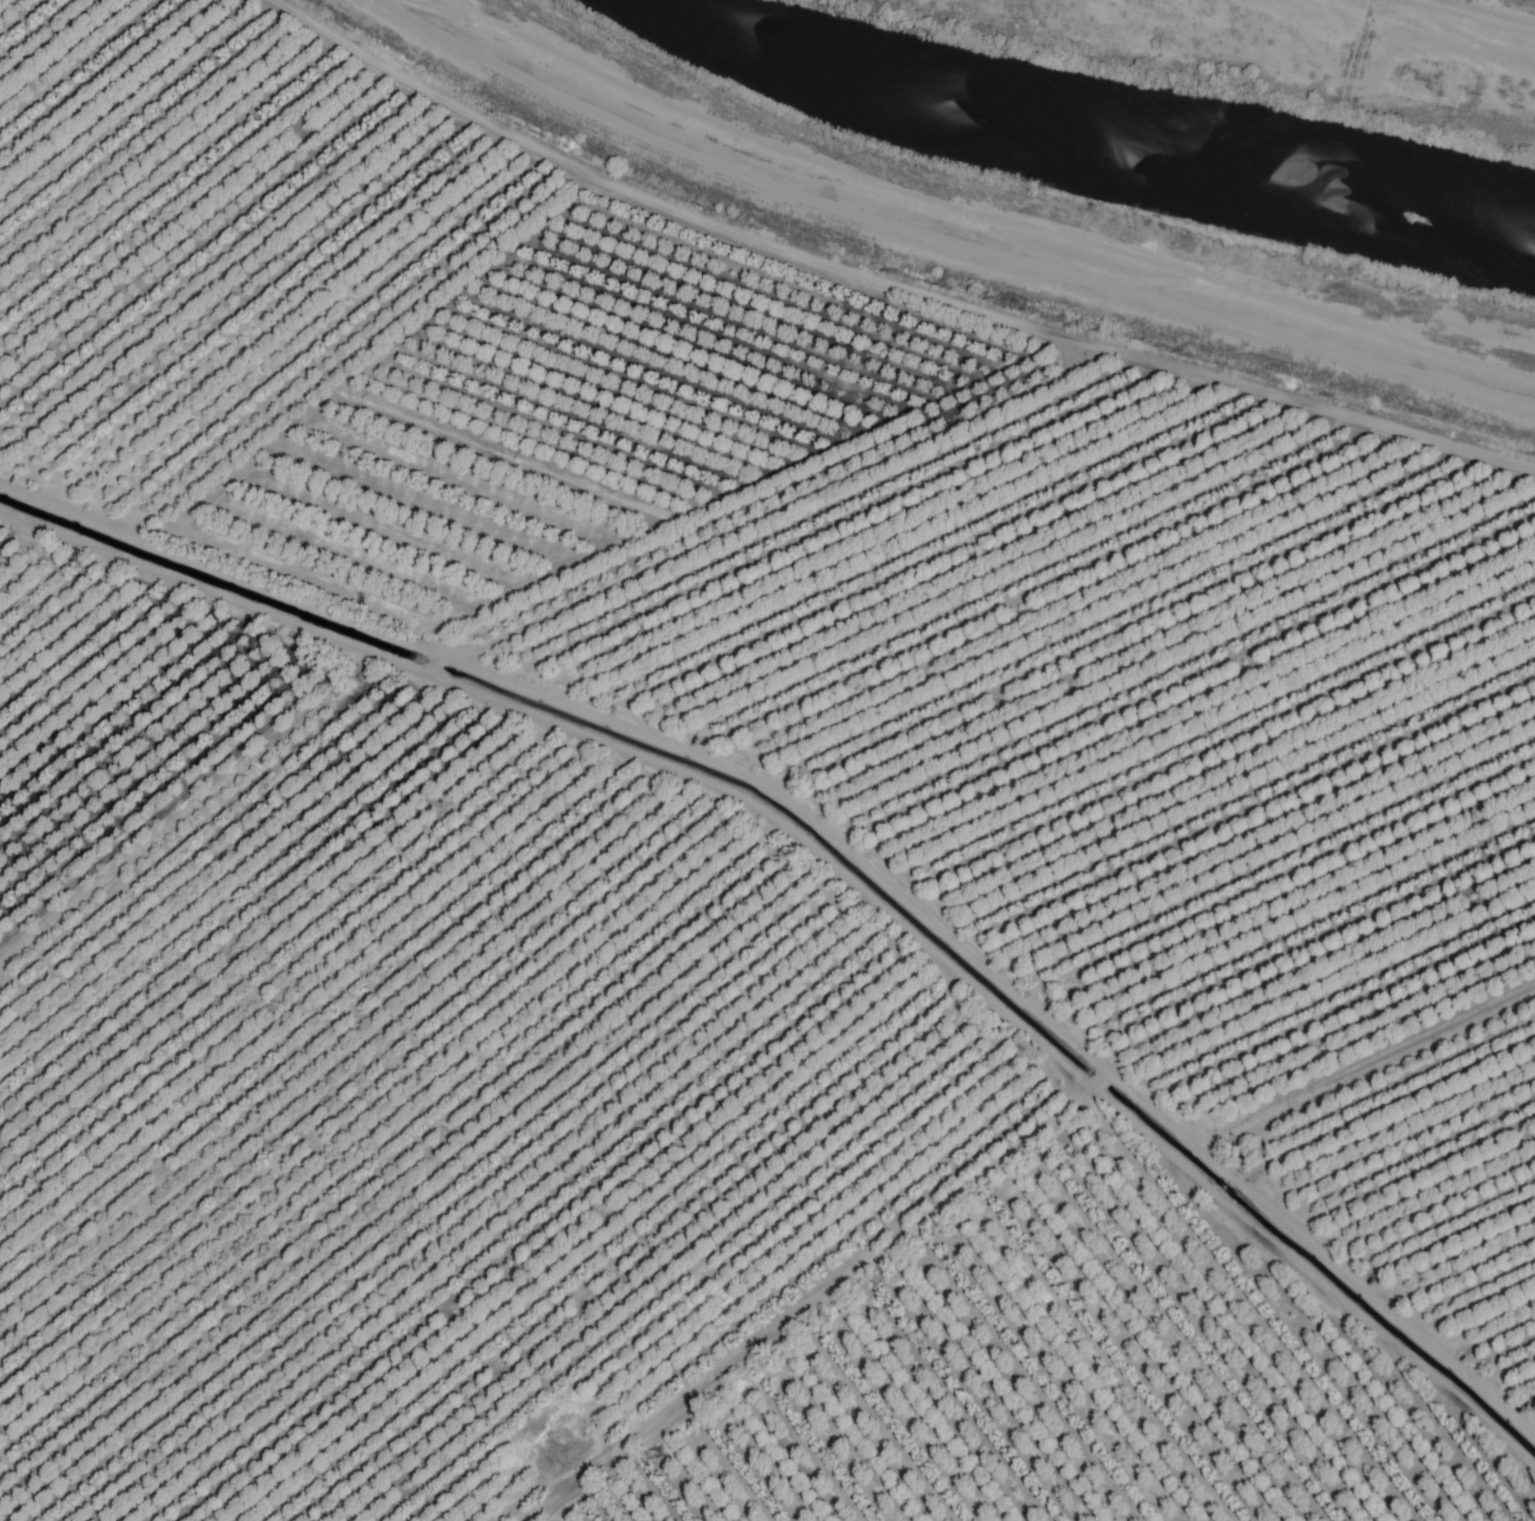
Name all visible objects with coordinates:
crop: (1526, 2)
road: (1473, 12)
river: (1080, 154)
road: (949, 244)
road: (889, 283)
road: (840, 842)

